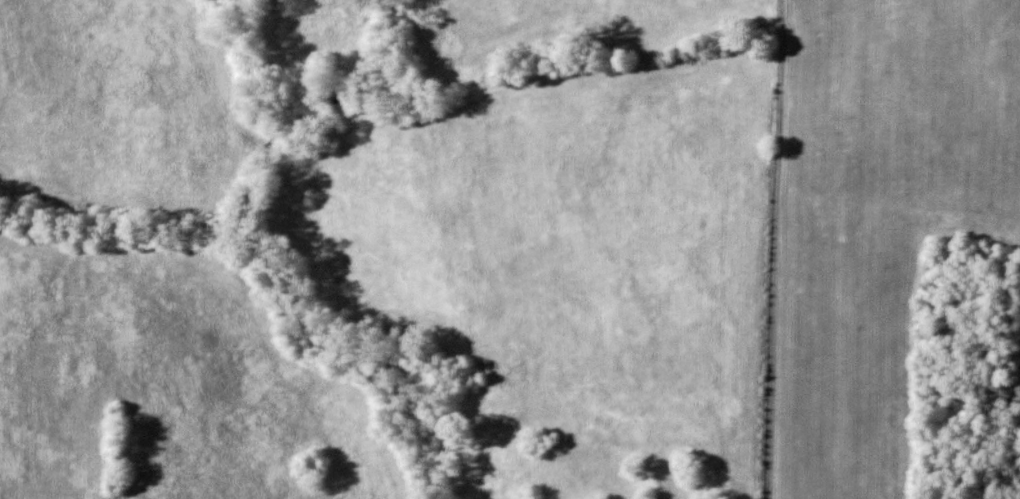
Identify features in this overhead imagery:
road: (780, 249)

